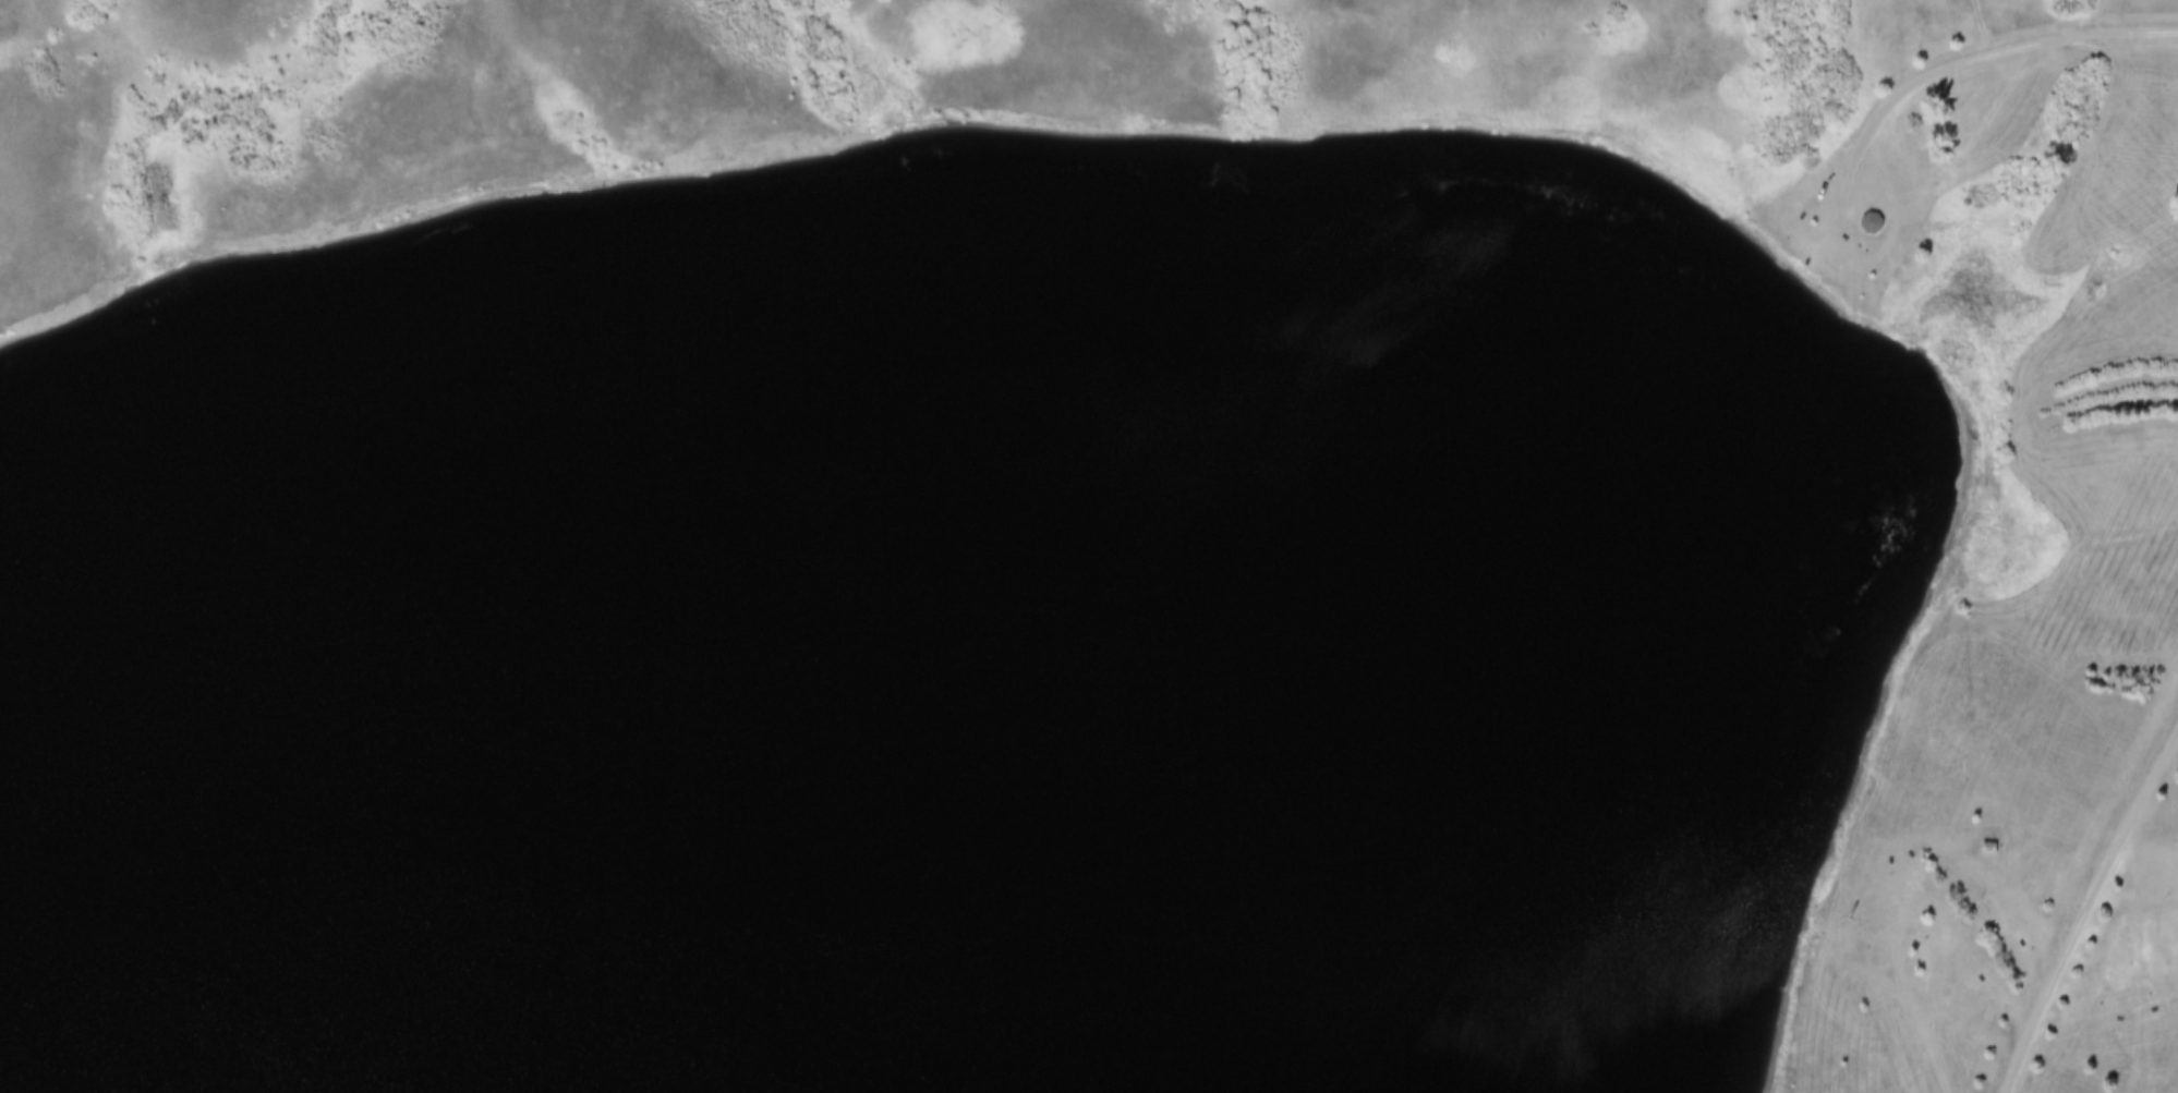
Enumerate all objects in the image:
road: (1983, 57)
building: (1868, 211)
building: (1874, 223)
building: (1987, 839)
road: (2085, 910)

